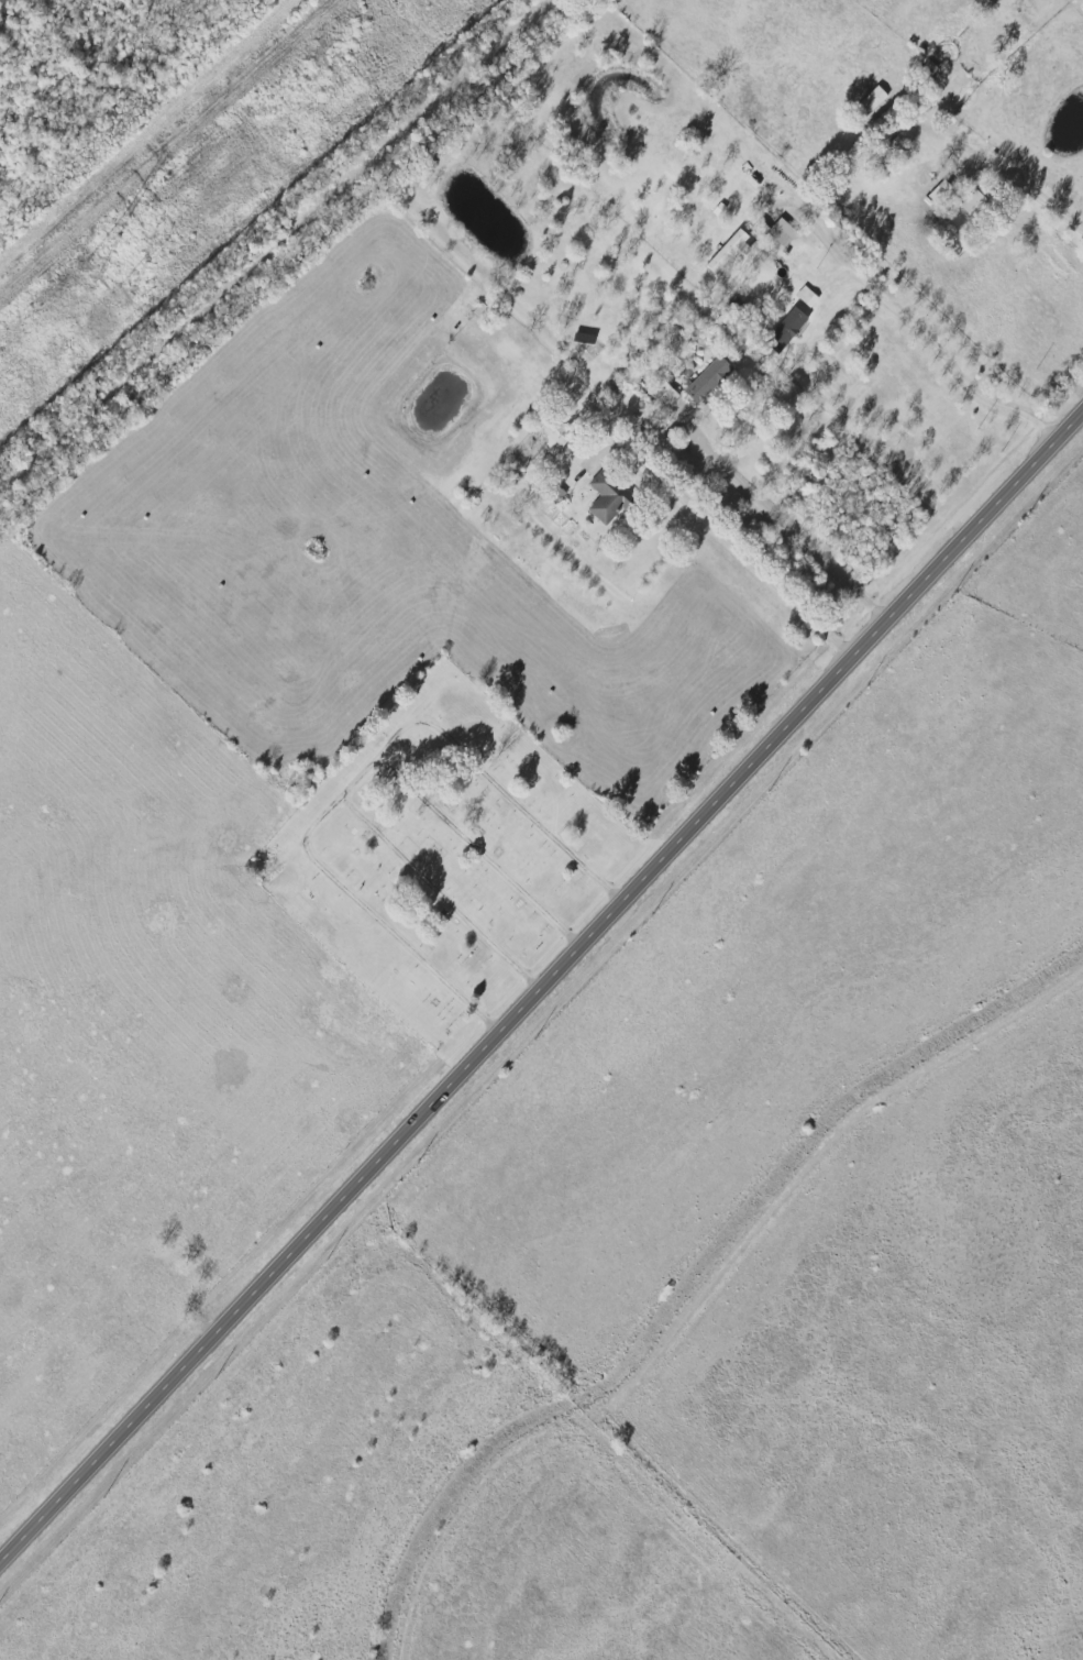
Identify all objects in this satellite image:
road: (1040, 205)
building: (773, 232)
railway: (265, 239)
building: (727, 253)
power tower: (88, 272)
power tower: (119, 296)
building: (784, 331)
road: (938, 356)
building: (704, 381)
building: (662, 395)
building: (544, 439)
building: (604, 498)
road: (776, 521)
road: (720, 538)
road: (354, 766)
park: (446, 856)
road: (535, 981)

